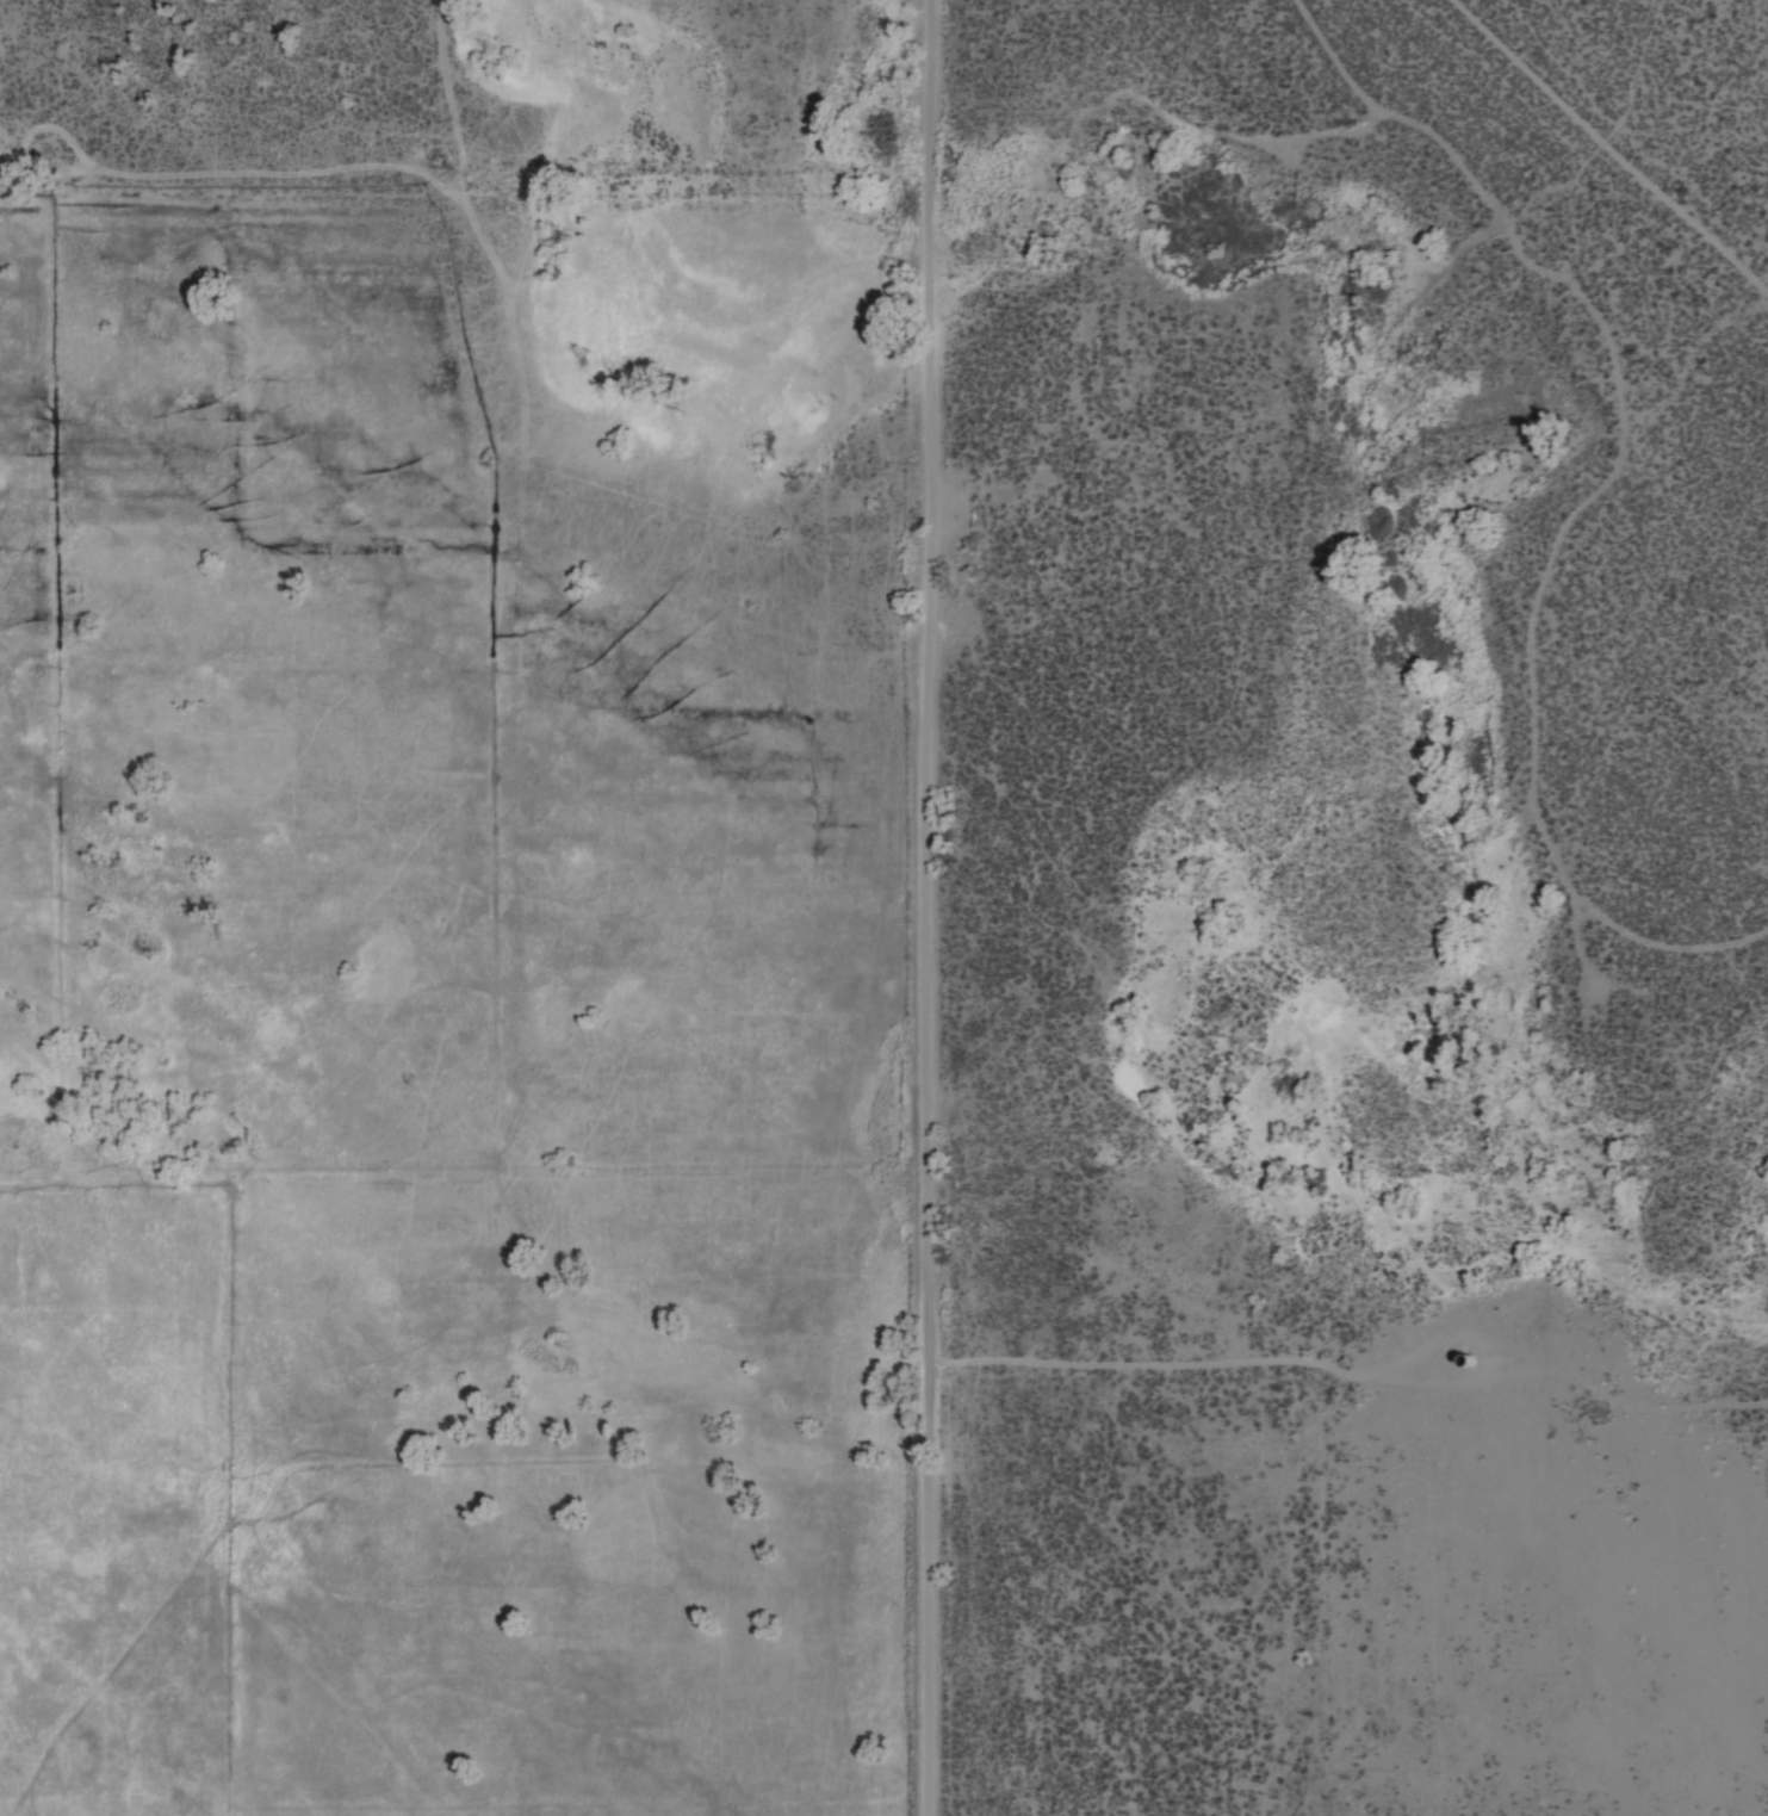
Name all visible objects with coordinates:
road: (1617, 141)
road: (1598, 495)
road: (925, 907)
road: (1348, 1366)

